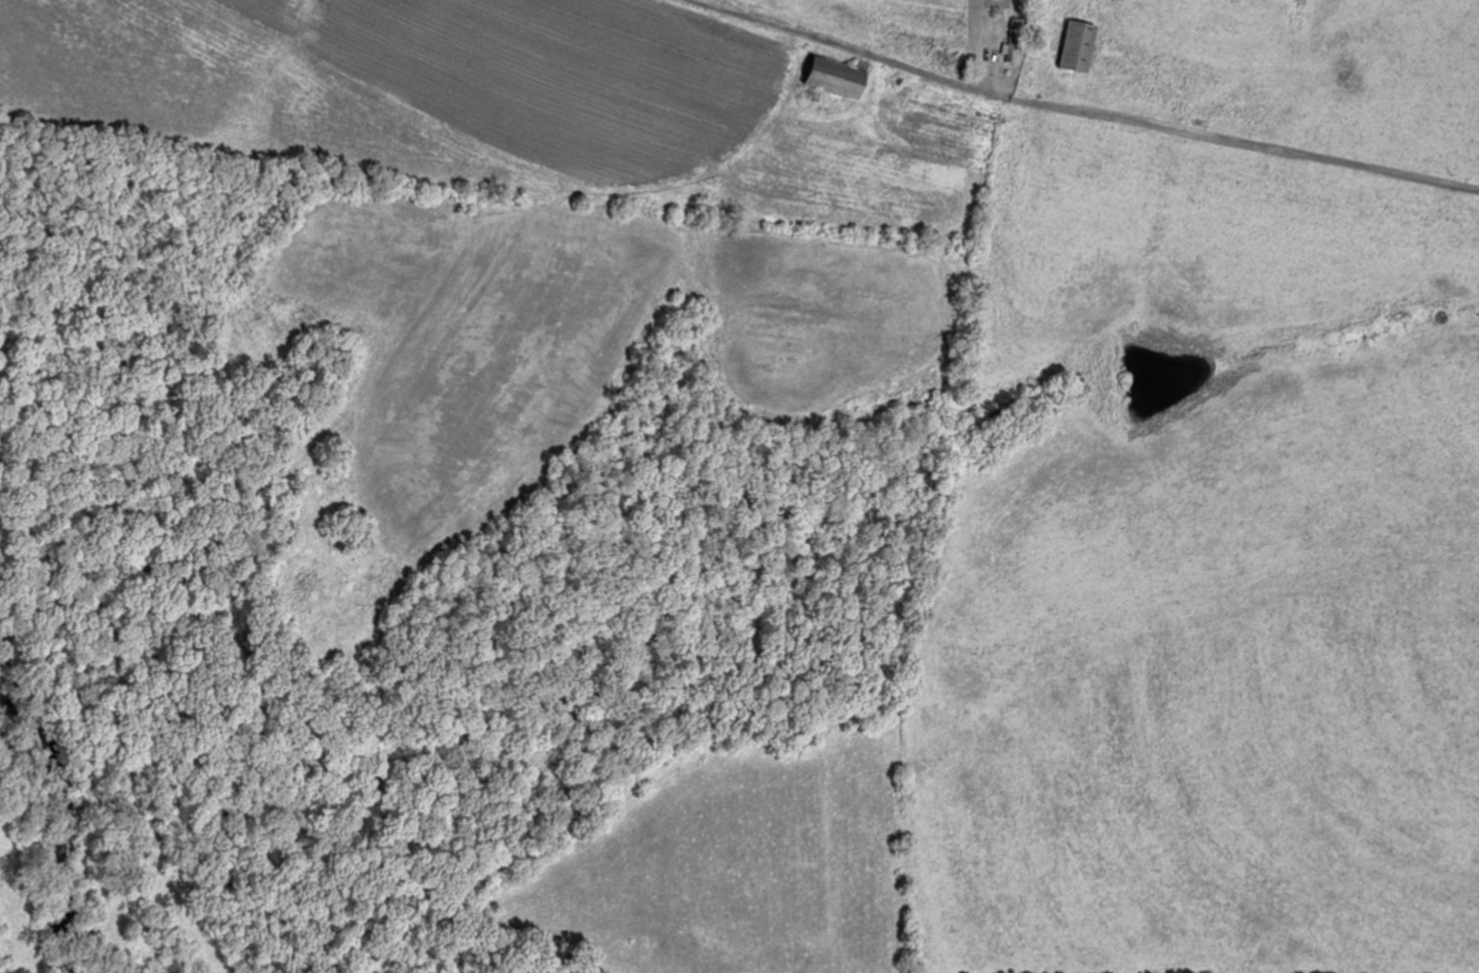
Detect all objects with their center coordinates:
road: (963, 34)
building: (1014, 41)
building: (1080, 47)
building: (840, 77)
road: (1091, 105)

